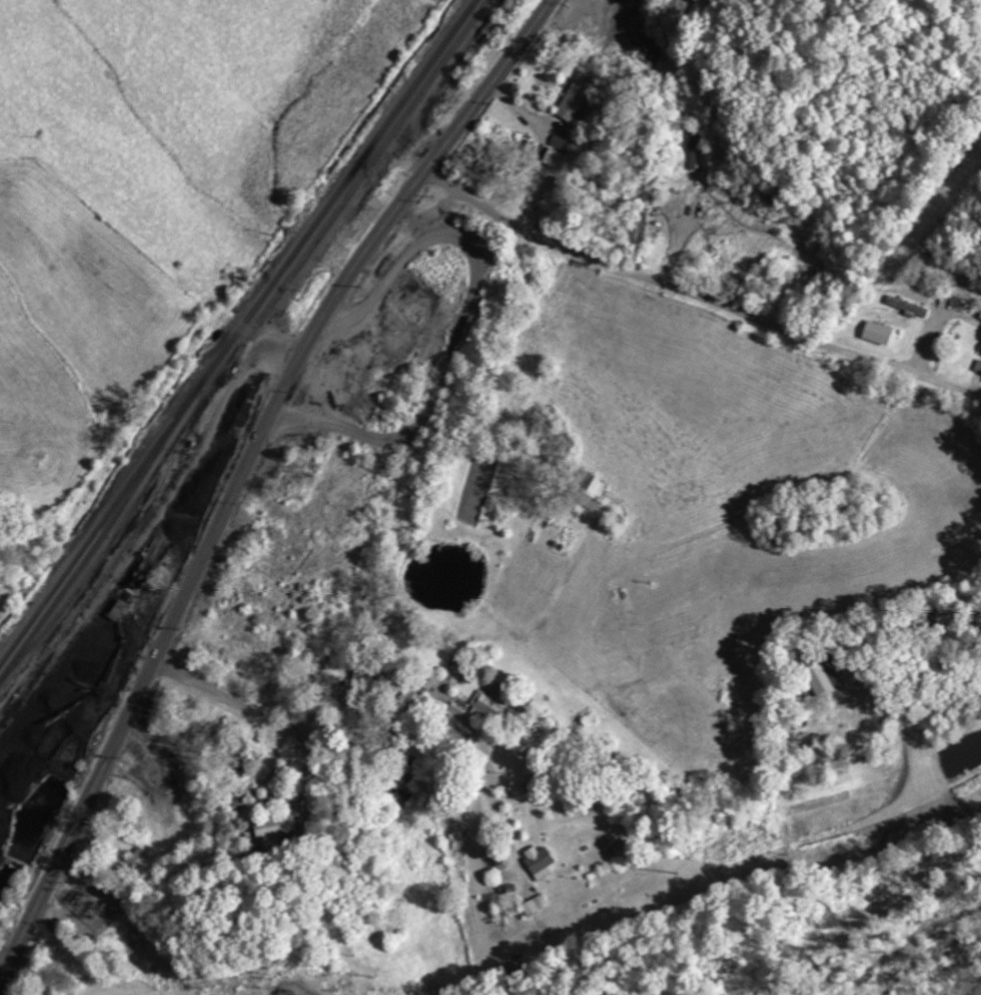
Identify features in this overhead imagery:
building: (577, 96)
building: (559, 141)
building: (557, 159)
road: (693, 294)
building: (908, 307)
building: (980, 317)
building: (880, 333)
railway: (238, 335)
railway: (251, 336)
road: (243, 473)
railway: (87, 562)
railway: (113, 562)
building: (492, 704)
road: (345, 722)
building: (404, 798)
building: (277, 826)
building: (542, 861)
power substation: (91, 903)
building: (537, 904)
building: (506, 916)
power substation: (296, 989)

